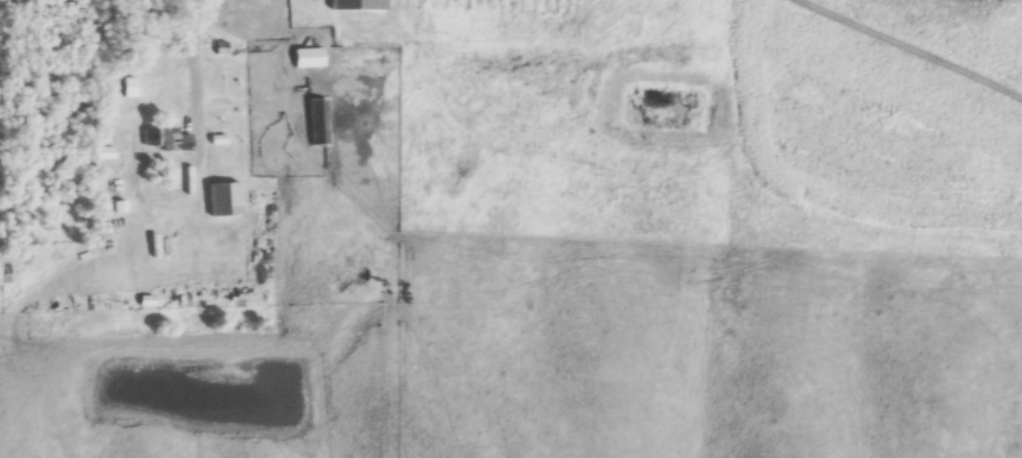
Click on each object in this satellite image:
building: (358, 4)
road: (190, 29)
road: (913, 47)
building: (308, 56)
building: (130, 86)
building: (318, 120)
building: (166, 138)
building: (224, 198)
road: (143, 209)

